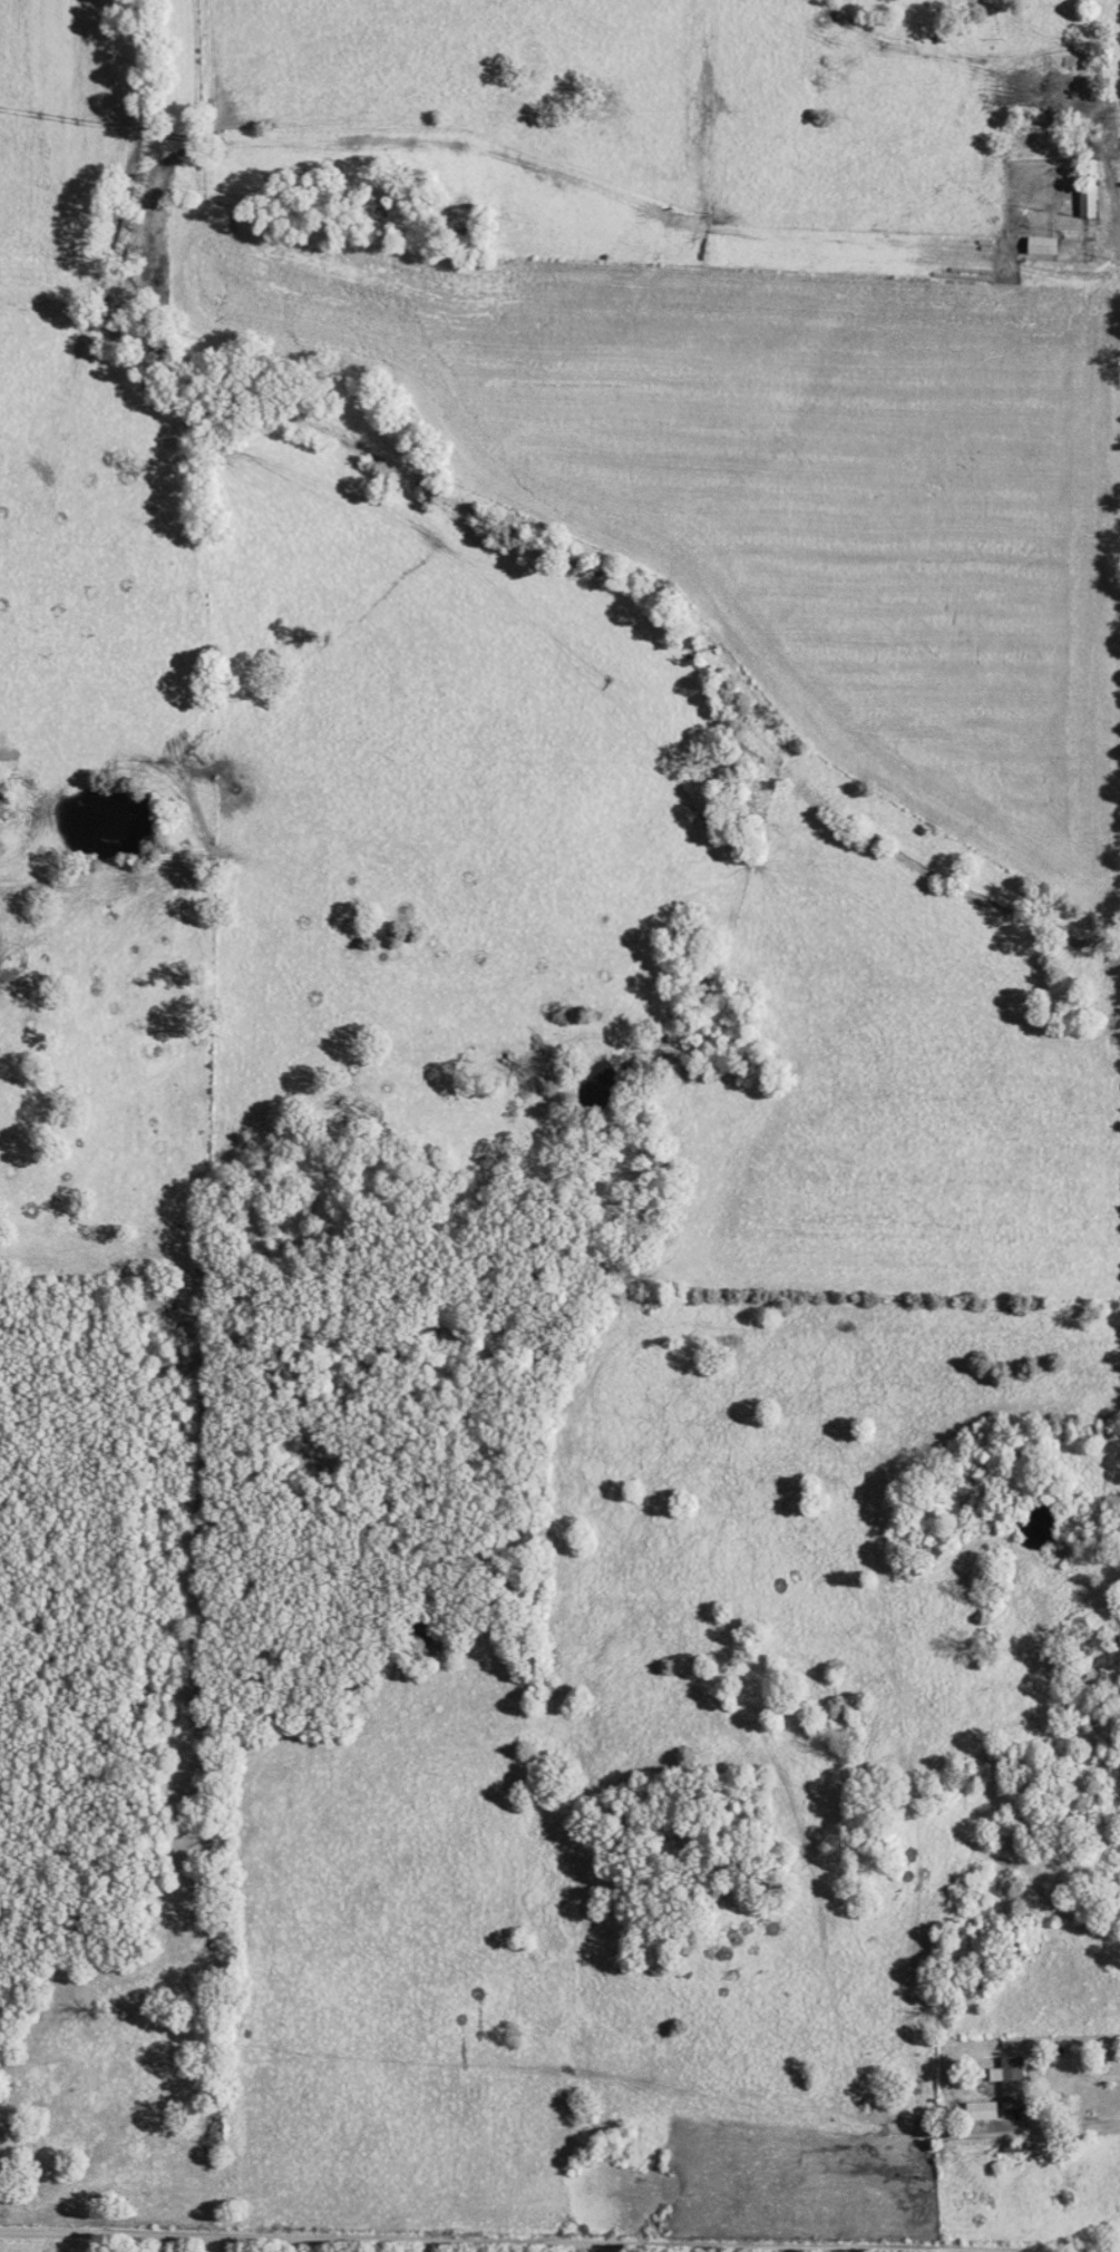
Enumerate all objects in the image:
building: (1092, 205)
building: (1049, 247)
building: (1016, 2082)
building: (988, 2112)
road: (1069, 2128)
road: (528, 2244)

